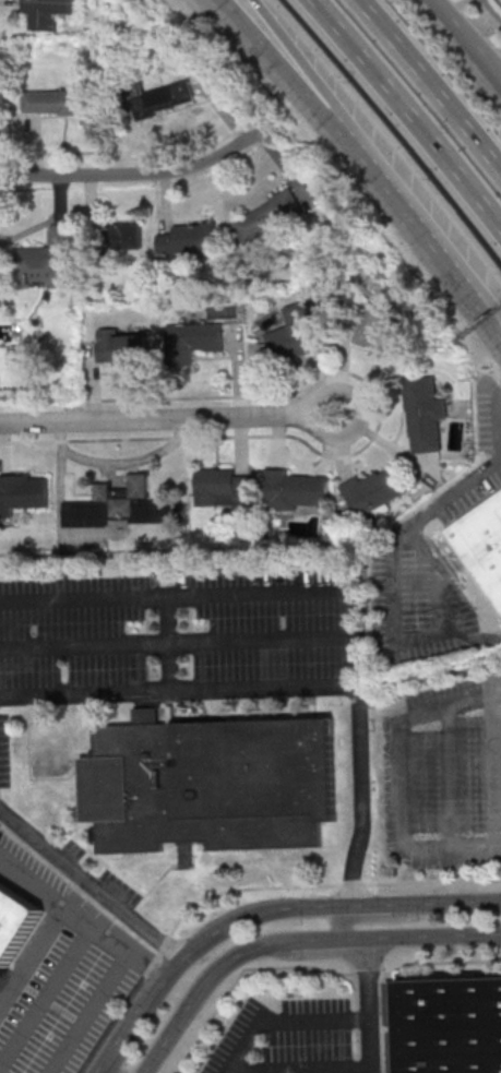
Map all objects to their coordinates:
building: (48, 12)
road: (469, 34)
road: (295, 83)
road: (317, 83)
road: (428, 87)
building: (162, 98)
building: (60, 103)
road: (406, 116)
road: (138, 175)
road: (414, 215)
building: (270, 216)
building: (123, 236)
building: (184, 240)
building: (47, 261)
road: (477, 288)
road: (477, 300)
building: (375, 329)
building: (296, 334)
building: (193, 339)
building: (120, 346)
building: (425, 414)
road: (489, 417)
road: (170, 419)
road: (358, 450)
building: (219, 486)
building: (295, 489)
building: (375, 490)
building: (23, 491)
road: (451, 498)
building: (120, 505)
building: (481, 546)
road: (333, 594)
road: (402, 633)
road: (167, 644)
road: (177, 691)
parking lot: (444, 776)
road: (398, 782)
building: (210, 783)
road: (88, 883)
road: (425, 903)
road: (80, 914)
road: (377, 918)
road: (235, 919)
building: (15, 920)
road: (493, 931)
road: (493, 933)
road: (433, 934)
road: (338, 938)
road: (201, 983)
road: (45, 991)
road: (362, 1004)
road: (90, 1010)
road: (281, 1021)
building: (450, 1025)
road: (122, 1034)
parking lot: (298, 1037)
road: (296, 1069)
road: (100, 1072)

